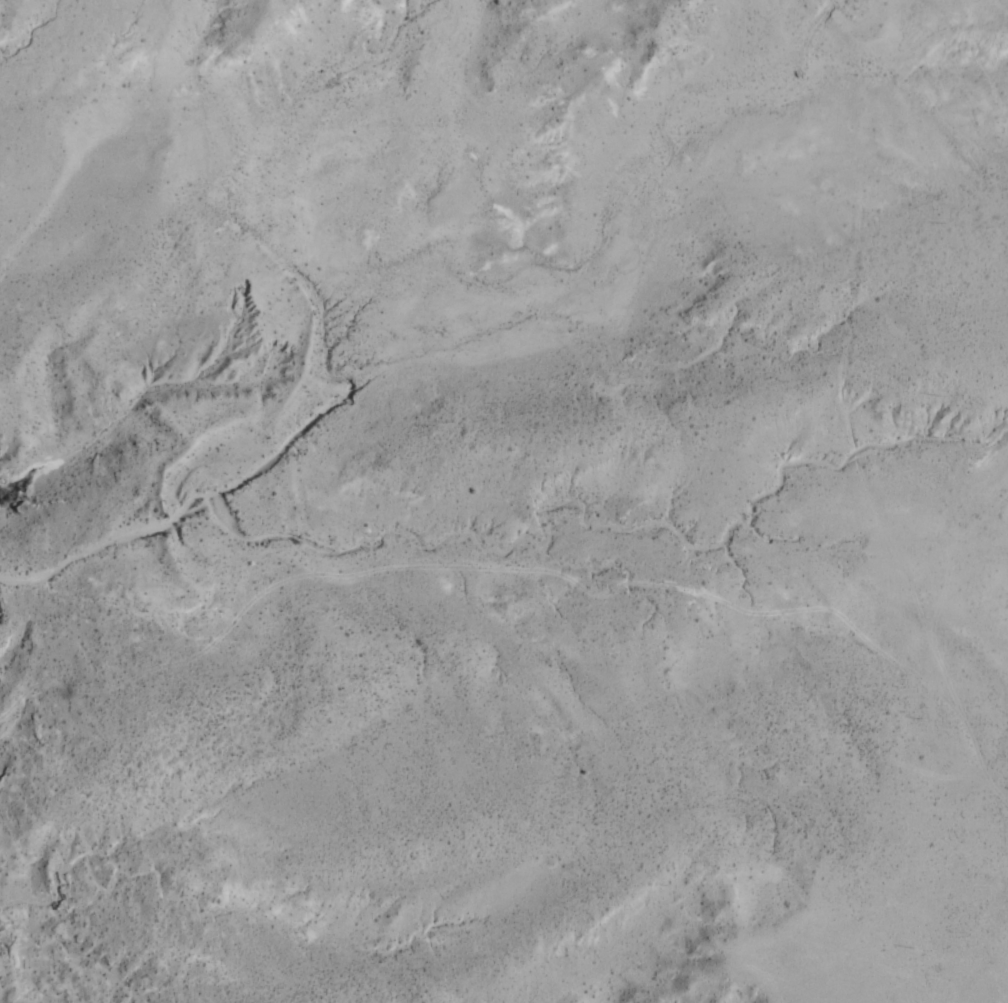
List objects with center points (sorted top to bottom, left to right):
road: (125, 74)
river: (85, 419)

